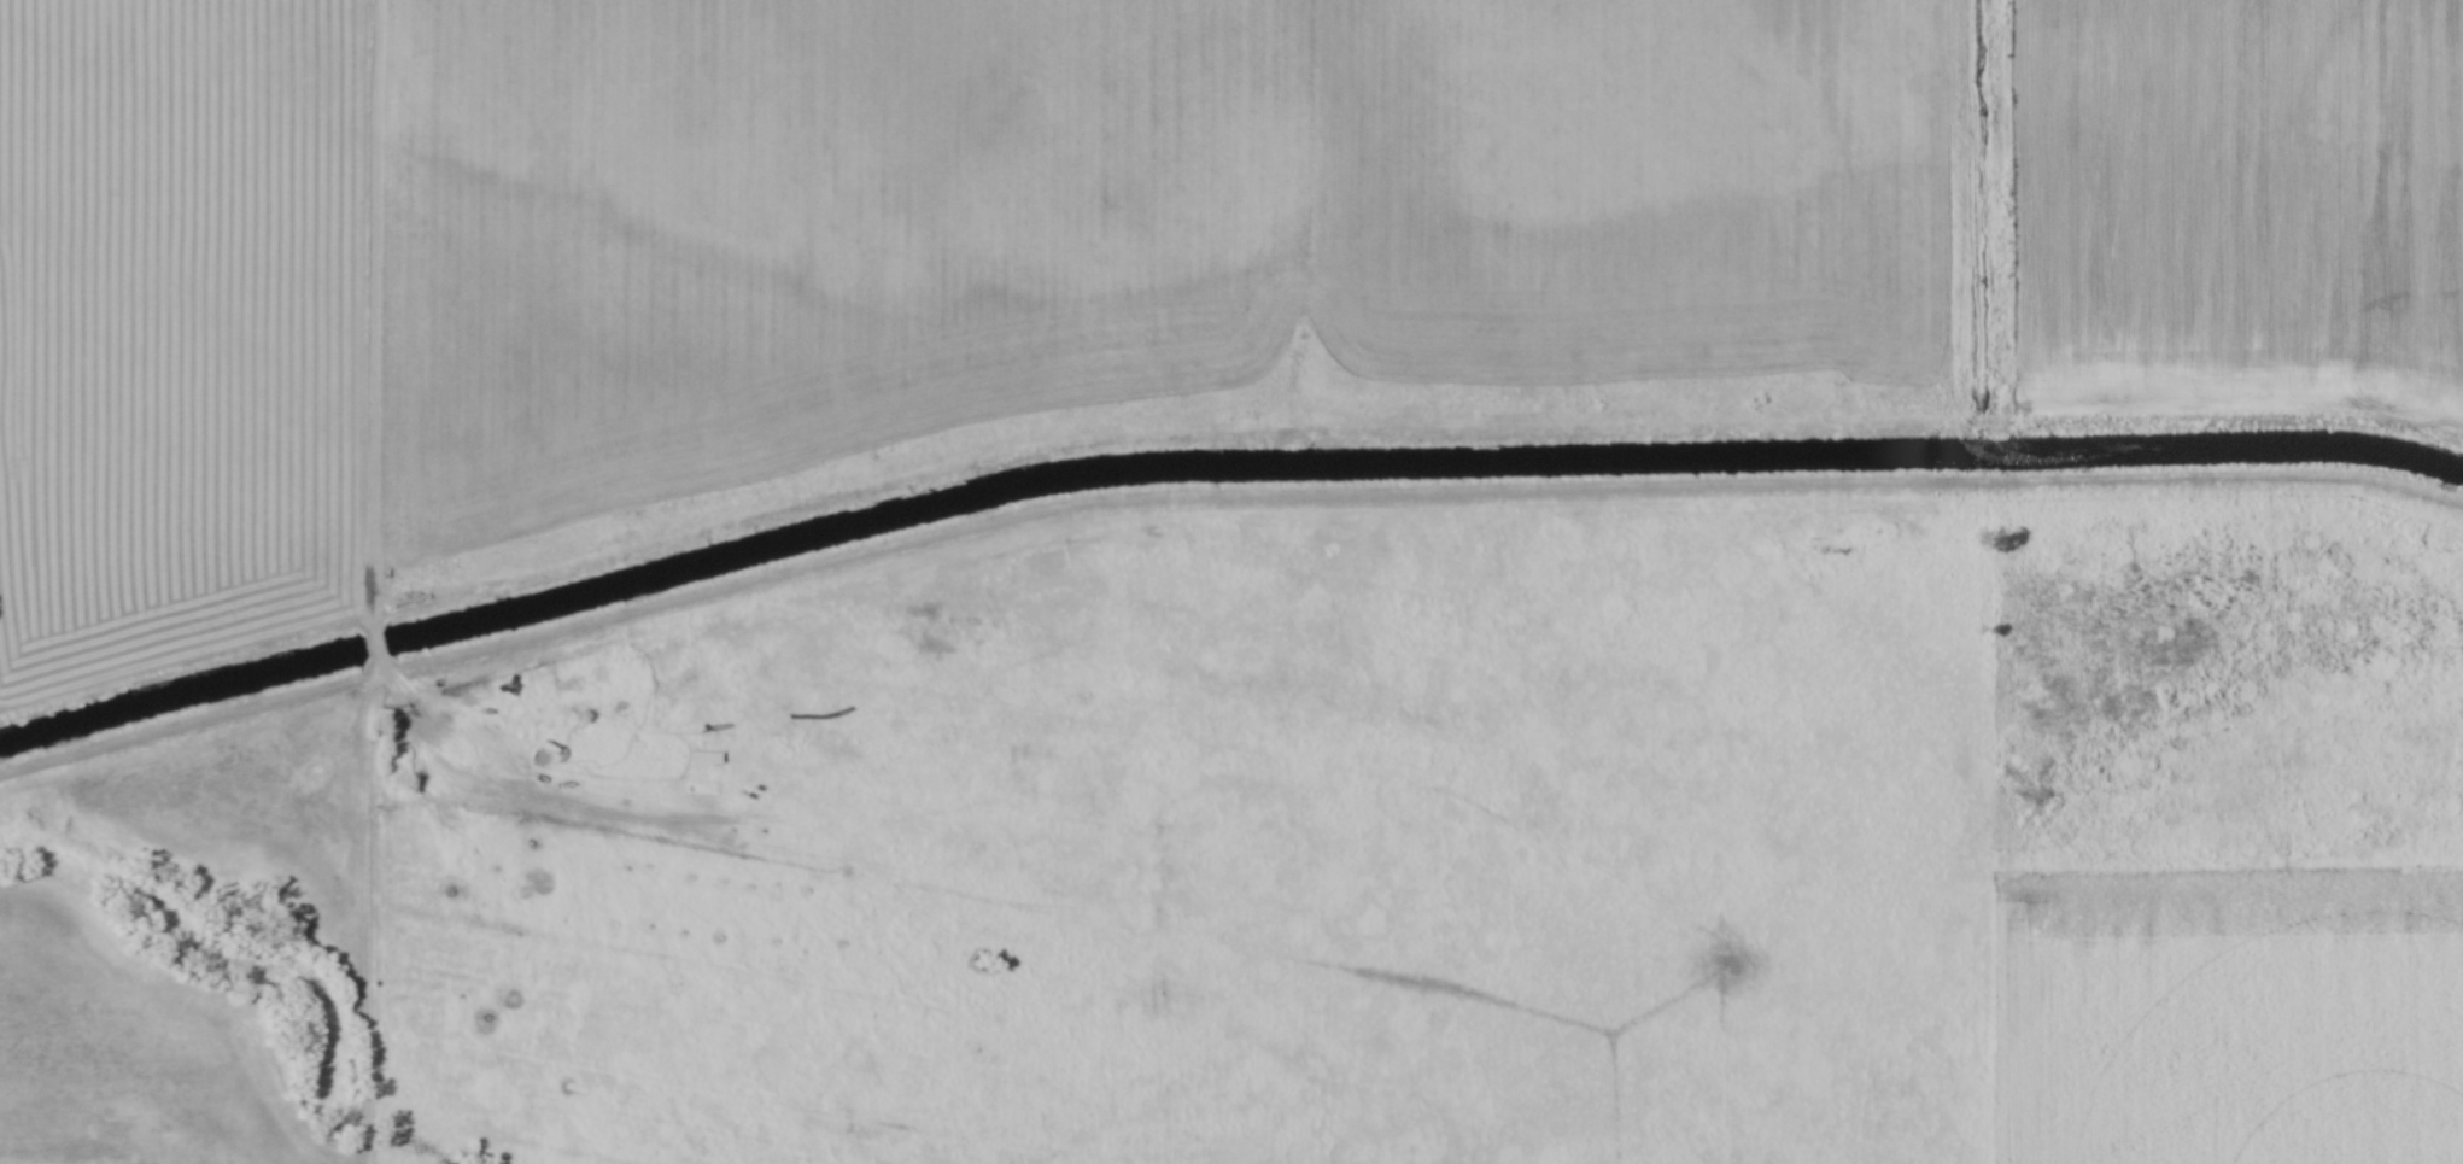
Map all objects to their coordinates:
crop: (2239, 199)
crop: (874, 253)
road: (381, 316)
road: (372, 645)
road: (463, 695)
crop: (2227, 1020)
crop: (127, 1057)

